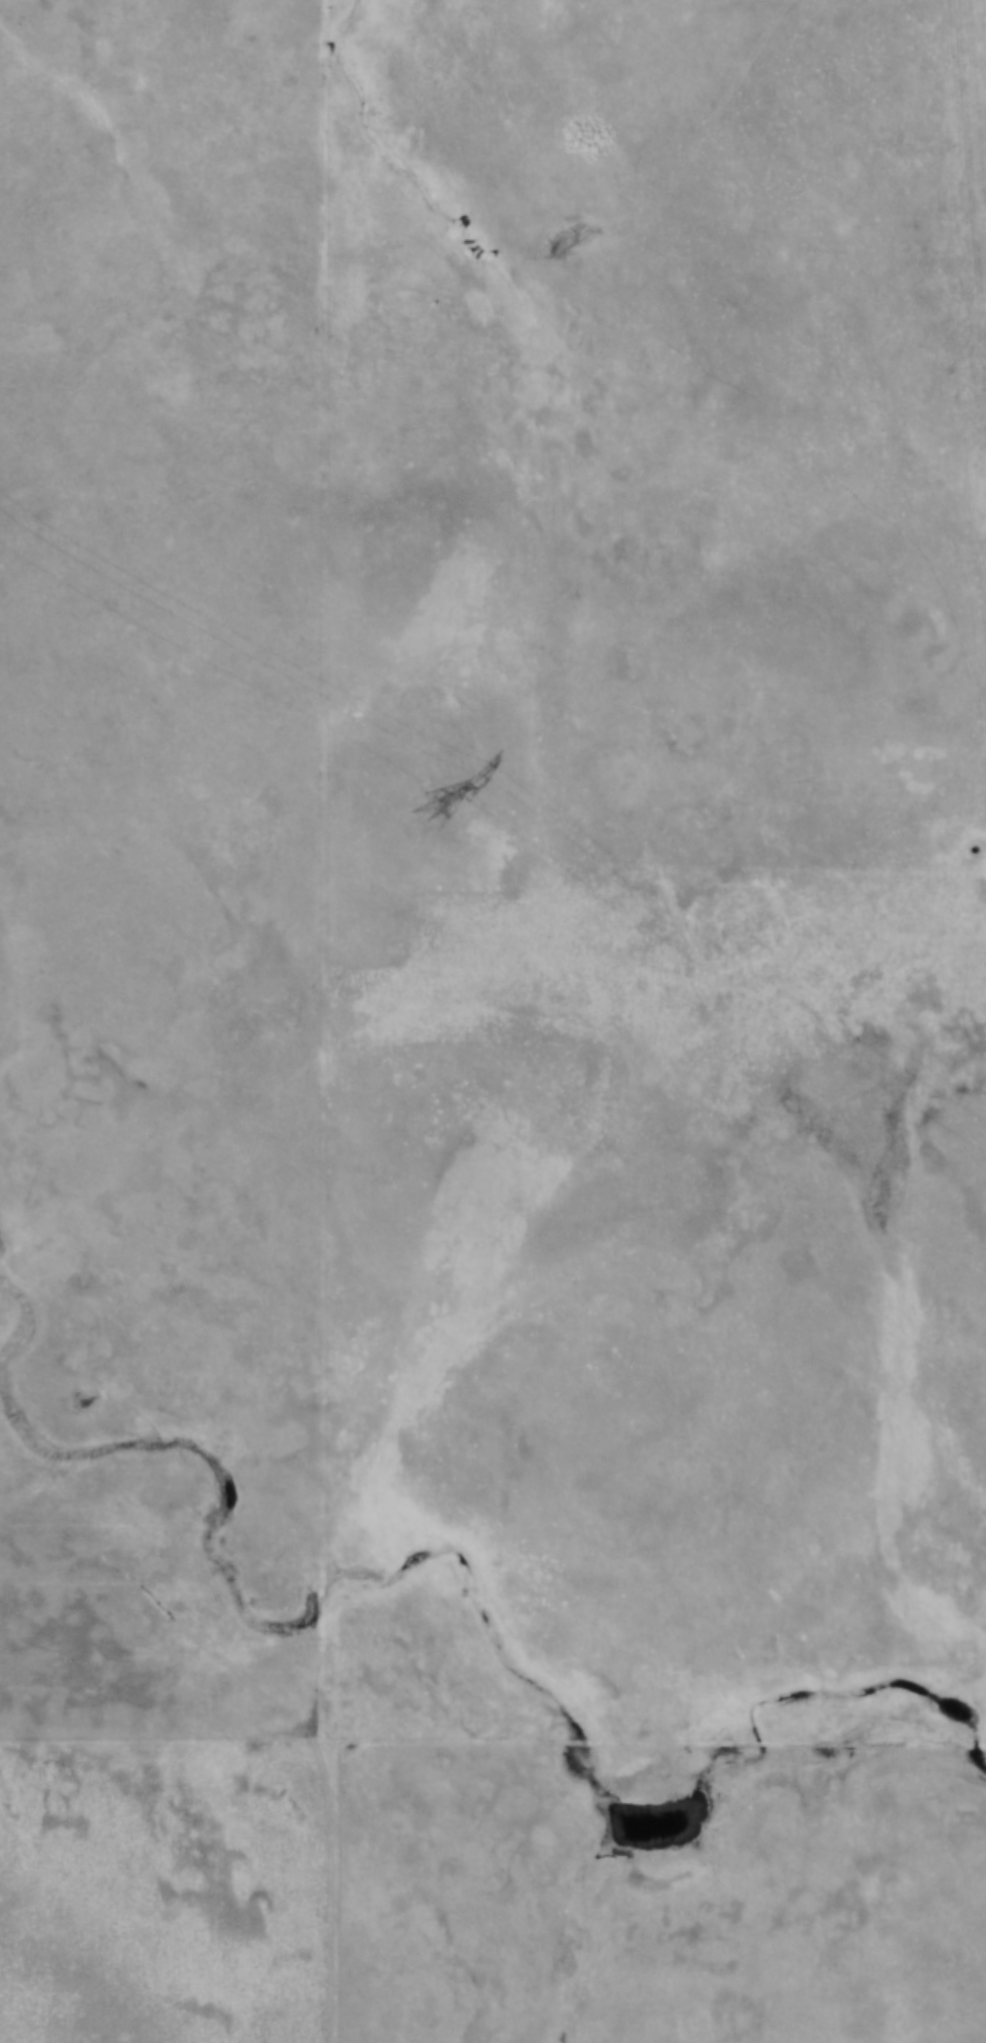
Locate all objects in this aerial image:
power tower: (429, 811)
road: (335, 1899)

